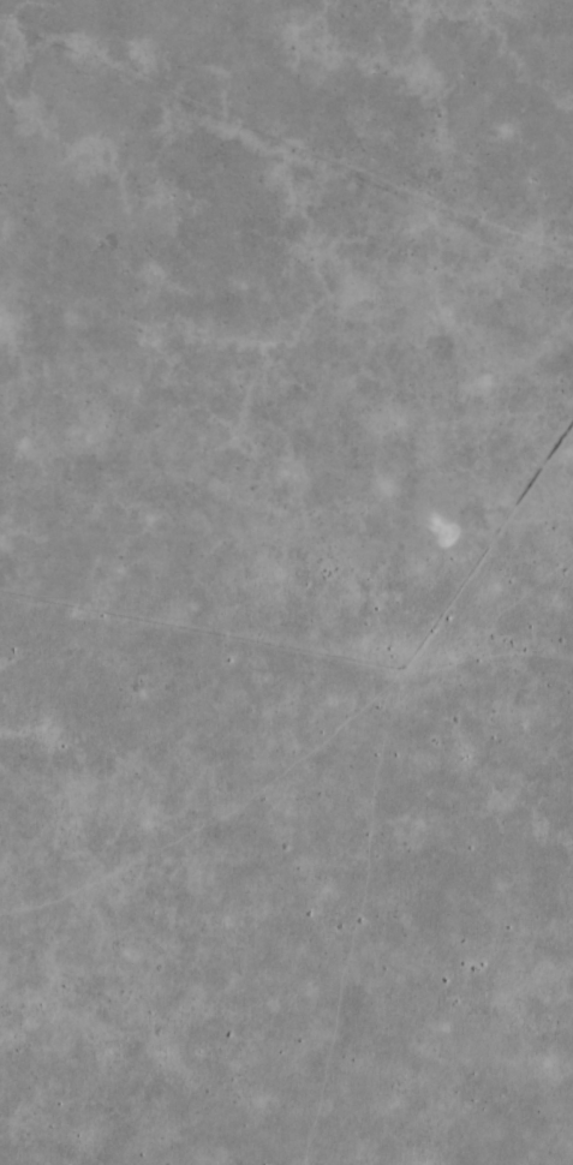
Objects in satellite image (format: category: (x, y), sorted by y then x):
road: (282, 141)

